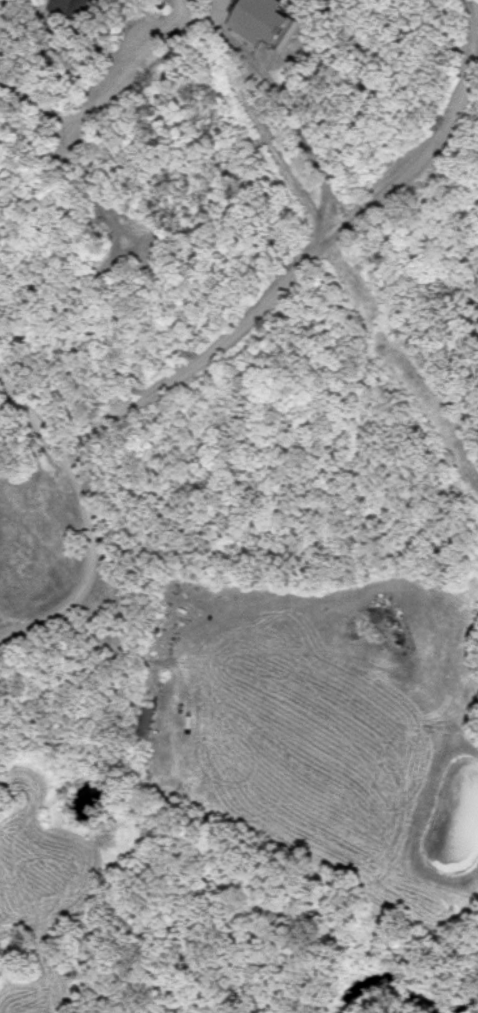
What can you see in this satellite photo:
building: (74, 10)
road: (215, 16)
building: (268, 23)
road: (347, 197)
road: (228, 334)
road: (35, 401)
building: (143, 723)

